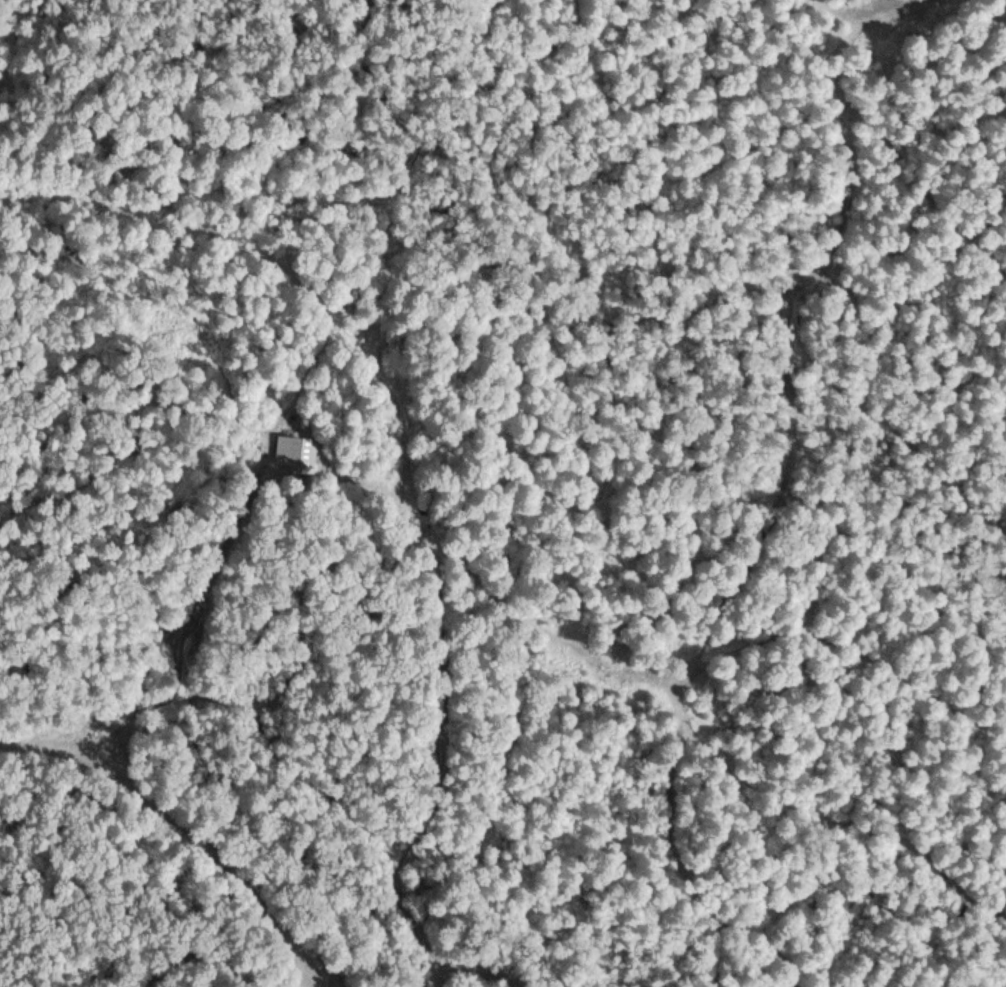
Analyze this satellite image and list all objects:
building: (293, 452)
road: (187, 831)

